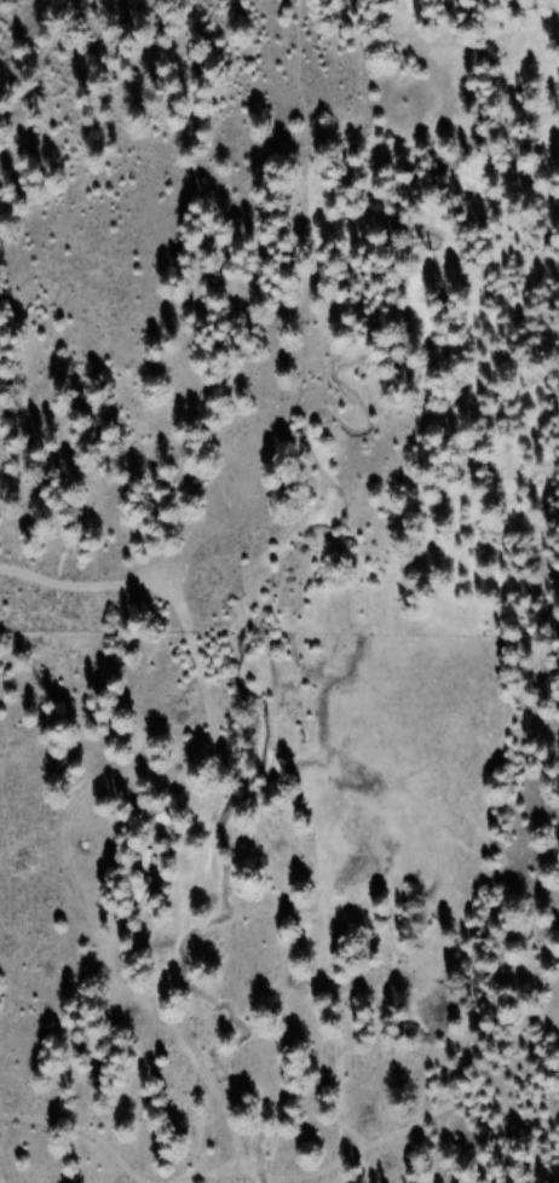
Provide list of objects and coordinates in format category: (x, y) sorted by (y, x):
road: (115, 644)

